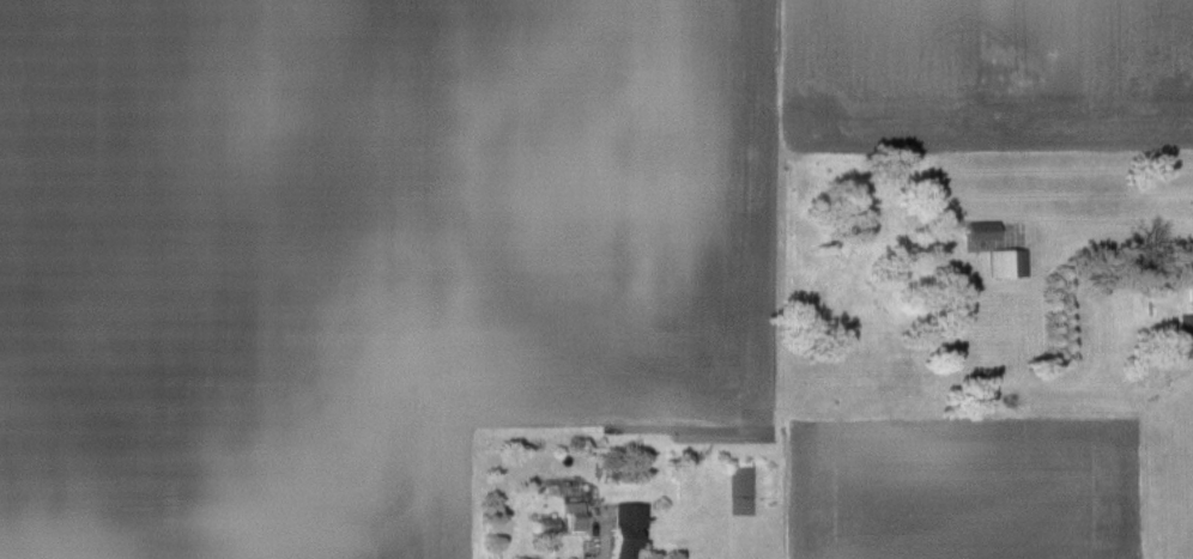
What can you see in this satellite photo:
building: (983, 231)
building: (1009, 263)
building: (1187, 328)
building: (550, 524)
building: (629, 529)

